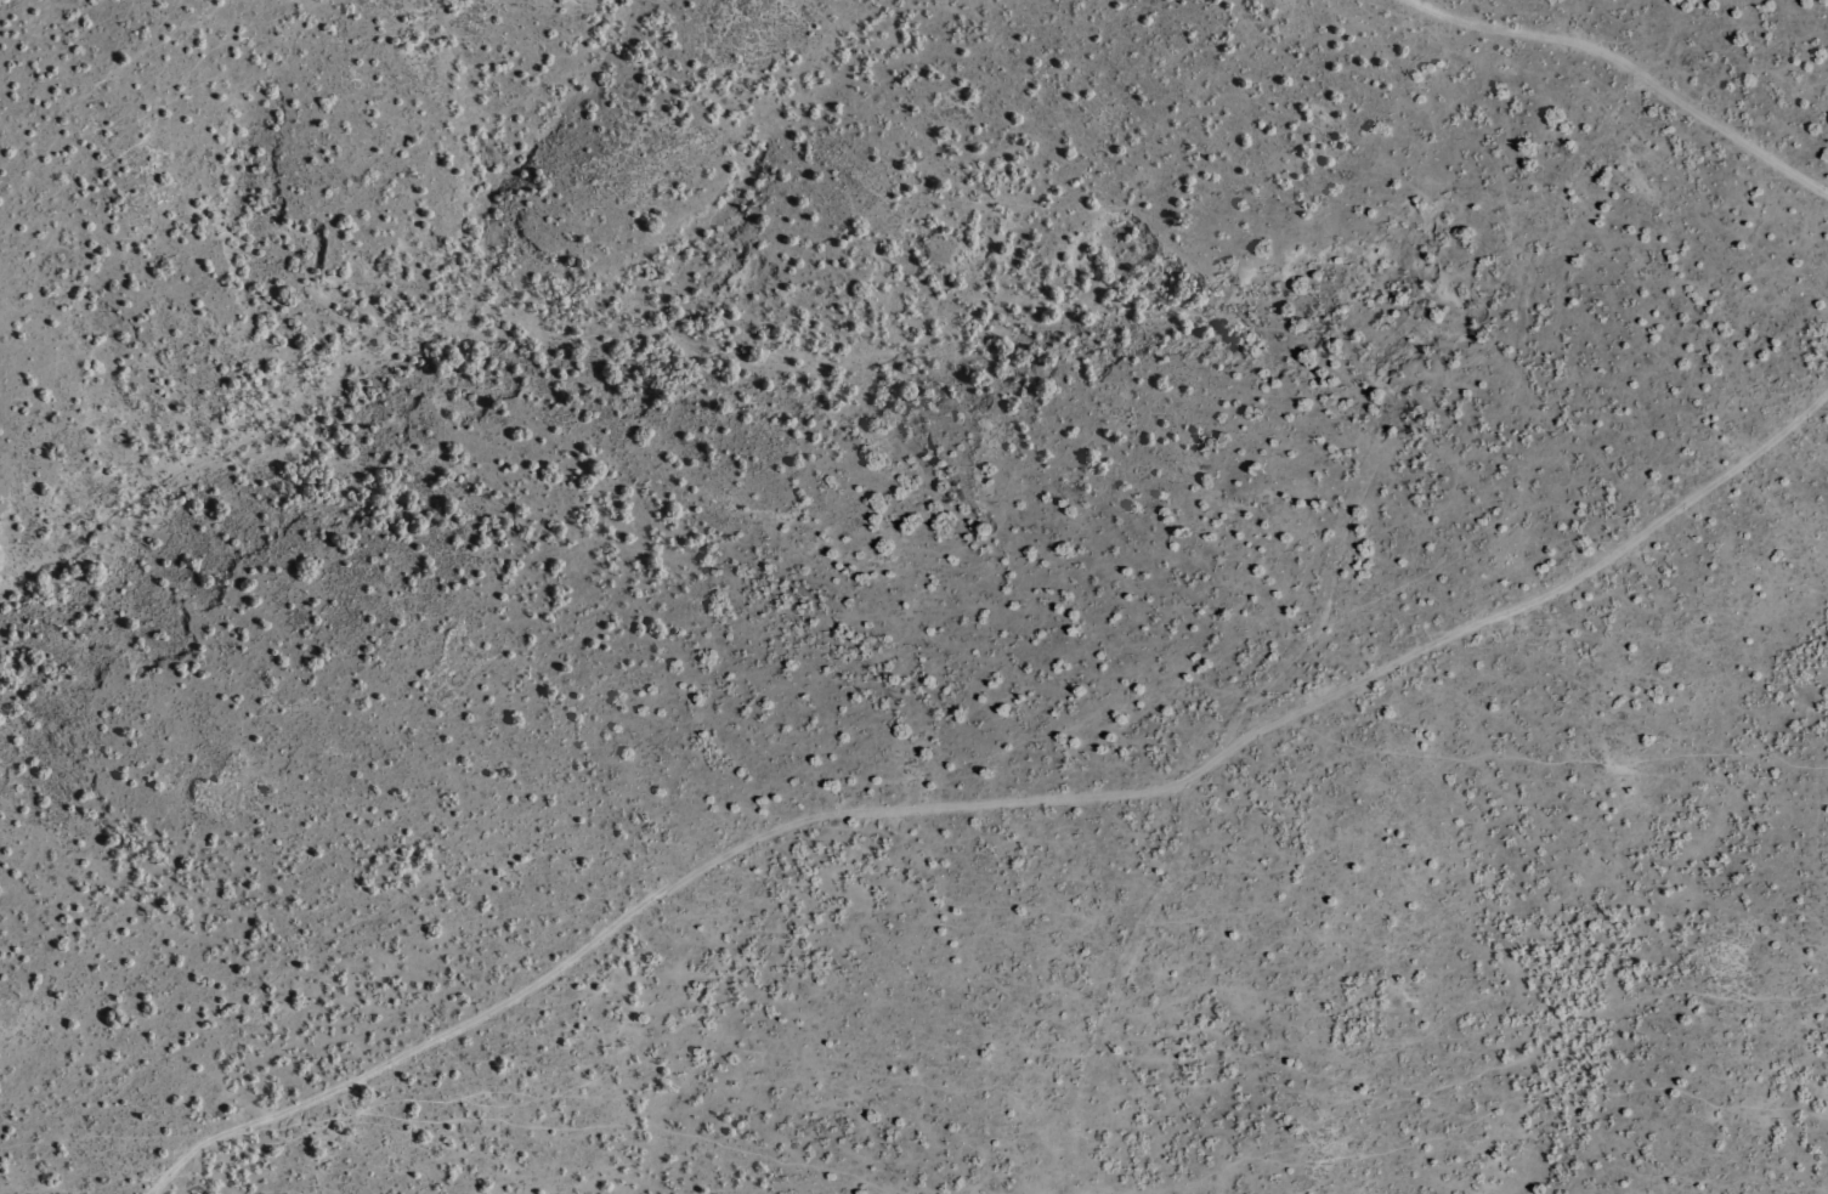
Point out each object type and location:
road: (1660, 75)

